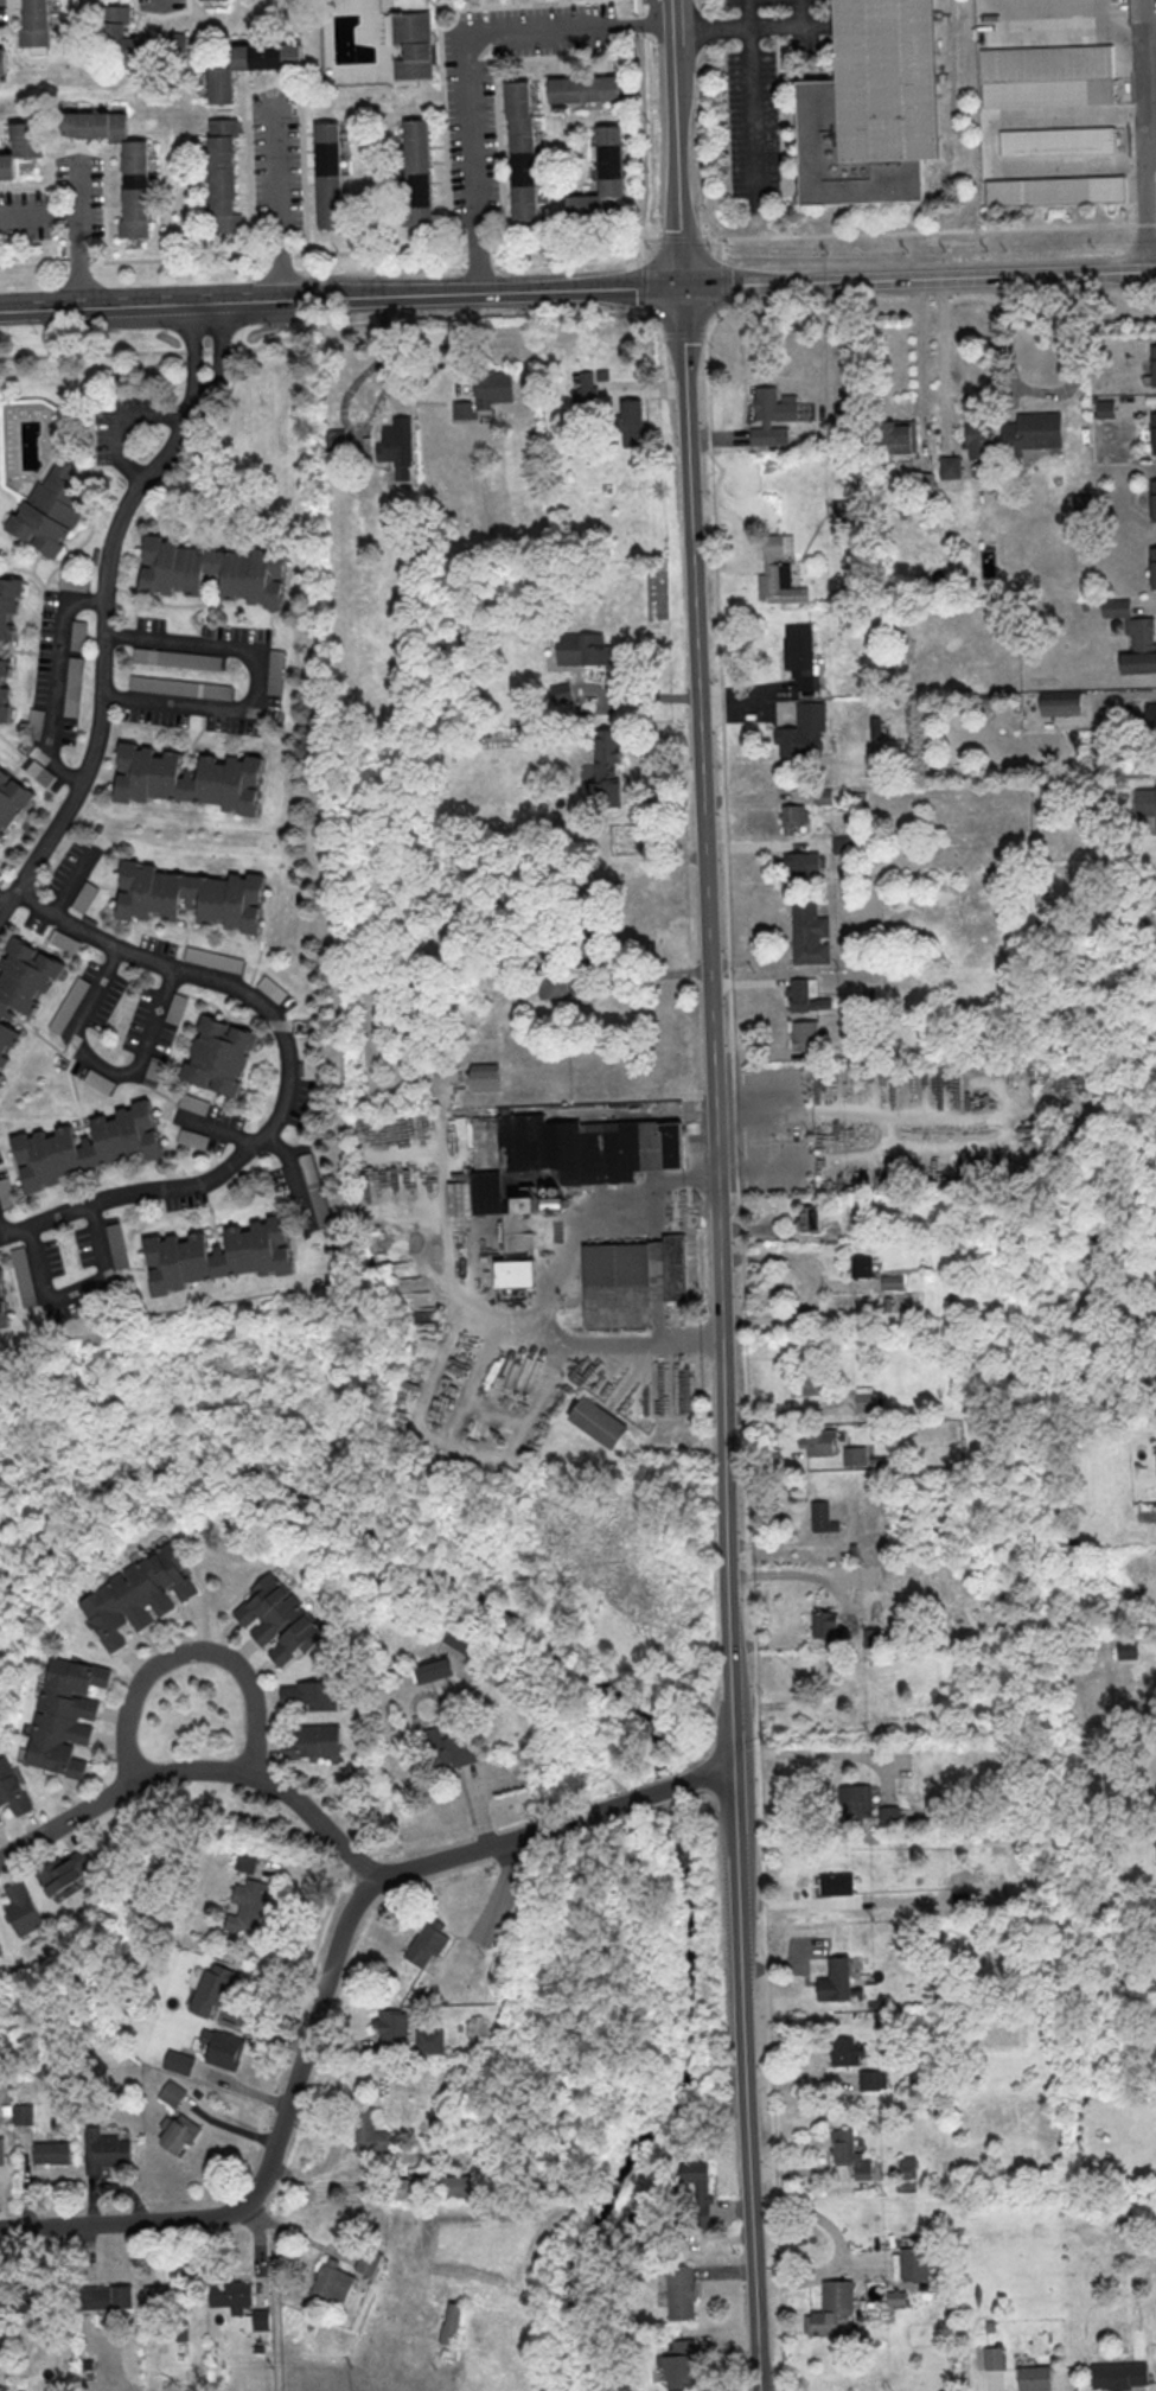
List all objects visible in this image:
parking lot: (762, 2)
road: (160, 4)
parking lot: (158, 5)
road: (640, 12)
road: (652, 12)
parking lot: (1, 13)
building: (33, 24)
road: (780, 24)
road: (721, 27)
road: (1132, 34)
road: (1036, 37)
building: (136, 38)
building: (411, 46)
building: (1, 62)
road: (462, 63)
building: (249, 68)
building: (1049, 76)
road: (270, 84)
building: (582, 91)
road: (749, 102)
building: (877, 107)
road: (1132, 111)
parking lot: (749, 123)
road: (1141, 135)
parking lot: (468, 139)
building: (1060, 144)
road: (989, 145)
building: (19, 149)
road: (88, 151)
building: (519, 153)
parking lot: (274, 165)
road: (1136, 165)
building: (416, 173)
building: (222, 176)
building: (600, 177)
building: (326, 178)
building: (133, 181)
building: (1058, 191)
road: (275, 195)
parking lot: (23, 196)
road: (37, 216)
road: (930, 231)
road: (74, 236)
road: (683, 240)
road: (331, 253)
traffic signals: (683, 287)
road: (617, 288)
road: (39, 310)
road: (155, 351)
building: (1152, 366)
building: (586, 393)
road: (1043, 393)
building: (484, 394)
road: (933, 396)
building: (775, 404)
road: (116, 417)
building: (632, 422)
building: (1029, 434)
building: (1152, 434)
building: (899, 436)
building: (979, 441)
building: (398, 445)
building: (950, 466)
building: (921, 487)
building: (1152, 502)
building: (849, 506)
building: (51, 512)
building: (401, 538)
building: (211, 569)
building: (1152, 569)
building: (775, 575)
building: (72, 582)
road: (106, 594)
building: (9, 602)
road: (1142, 606)
building: (78, 635)
building: (1133, 638)
building: (583, 648)
building: (798, 657)
building: (177, 658)
building: (275, 671)
road: (56, 678)
road: (258, 678)
building: (72, 686)
building: (180, 687)
building: (4, 689)
building: (560, 691)
road: (734, 703)
building: (1060, 704)
building: (1149, 720)
building: (800, 732)
building: (607, 745)
building: (40, 773)
building: (186, 778)
building: (12, 801)
building: (1144, 803)
building: (793, 816)
building: (797, 863)
building: (1155, 894)
building: (84, 895)
building: (192, 895)
road: (2, 901)
building: (806, 931)
building: (64, 941)
building: (213, 958)
building: (24, 984)
building: (556, 984)
building: (805, 995)
building: (70, 1005)
building: (177, 1008)
building: (805, 1034)
building: (219, 1054)
road: (288, 1064)
road: (104, 1067)
building: (154, 1071)
building: (1, 1076)
building: (485, 1079)
building: (100, 1080)
building: (194, 1103)
road: (860, 1111)
road: (216, 1129)
building: (193, 1137)
building: (85, 1146)
building: (571, 1159)
road: (296, 1173)
road: (695, 1174)
building: (314, 1188)
building: (6, 1192)
road: (717, 1194)
building: (807, 1218)
building: (117, 1244)
building: (217, 1254)
road: (773, 1257)
building: (862, 1265)
building: (517, 1274)
building: (632, 1280)
building: (892, 1281)
road: (78, 1290)
road: (555, 1292)
building: (2, 1305)
road: (796, 1307)
road: (700, 1338)
building: (815, 1385)
building: (868, 1401)
building: (599, 1423)
building: (820, 1441)
building: (855, 1454)
building: (1154, 1458)
building: (818, 1516)
road: (791, 1573)
building: (138, 1593)
building: (276, 1620)
building: (824, 1624)
building: (462, 1640)
road: (190, 1650)
building: (433, 1670)
building: (309, 1695)
building: (64, 1714)
building: (312, 1741)
building: (448, 1748)
road: (810, 1753)
road: (711, 1774)
building: (12, 1787)
road: (117, 1789)
road: (663, 1791)
building: (862, 1794)
building: (889, 1815)
building: (0, 1818)
road: (318, 1819)
building: (245, 1862)
building: (65, 1869)
building: (843, 1883)
building: (243, 1905)
building: (21, 1906)
building: (423, 1942)
building: (0, 1951)
building: (832, 1979)
building: (207, 1988)
building: (394, 2025)
road: (309, 2032)
building: (432, 2040)
building: (224, 2048)
building: (843, 2051)
building: (178, 2060)
building: (873, 2079)
building: (168, 2092)
building: (174, 2130)
building: (368, 2131)
building: (101, 2150)
building: (49, 2151)
building: (847, 2151)
building: (0, 2154)
building: (907, 2167)
building: (466, 2185)
building: (696, 2192)
road: (811, 2214)
building: (365, 2261)
building: (911, 2263)
road: (824, 2271)
building: (328, 2283)
building: (682, 2291)
road: (274, 2293)
building: (102, 2296)
building: (157, 2296)
building: (893, 2296)
building: (32, 2300)
building: (0, 2301)
building: (239, 2302)
building: (829, 2307)
building: (452, 2322)
building: (990, 2357)
building: (679, 2364)
building: (1115, 2374)
building: (1032, 2378)
building: (0, 2387)

